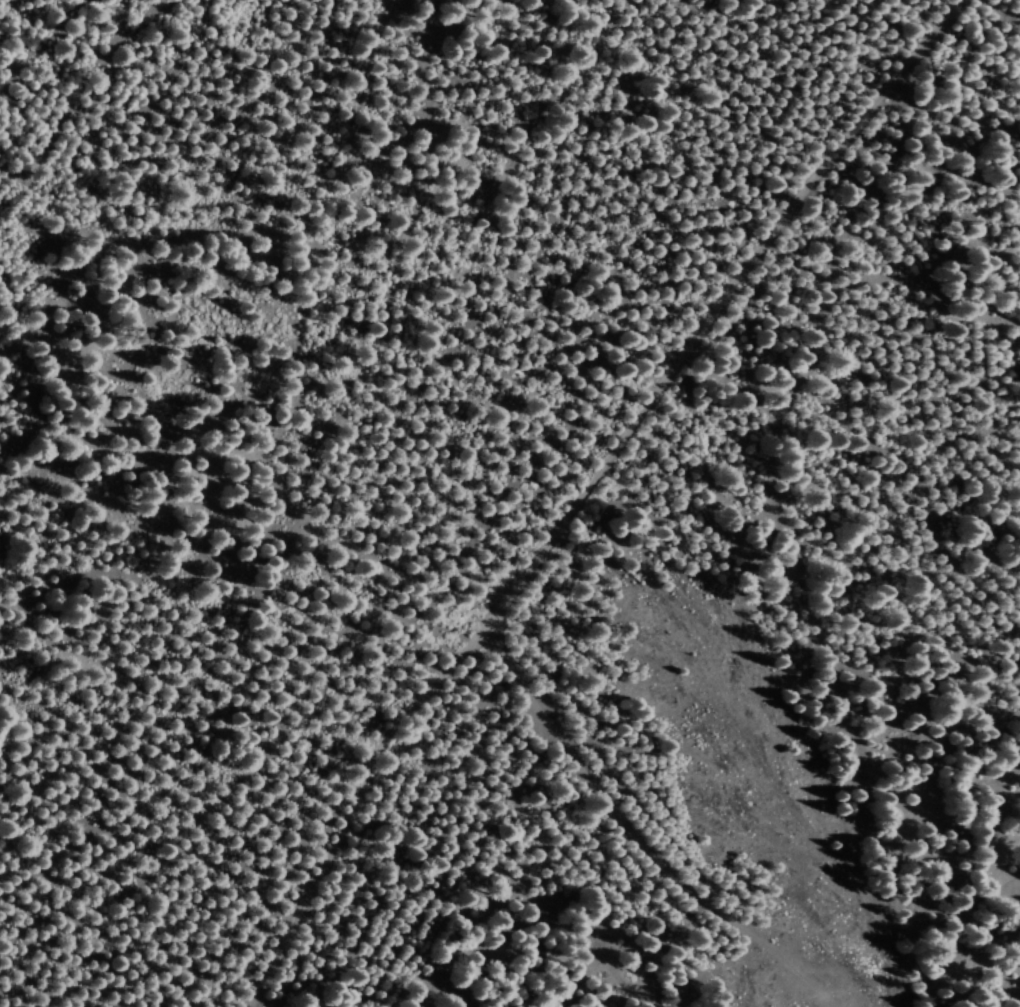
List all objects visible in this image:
road: (593, 491)

